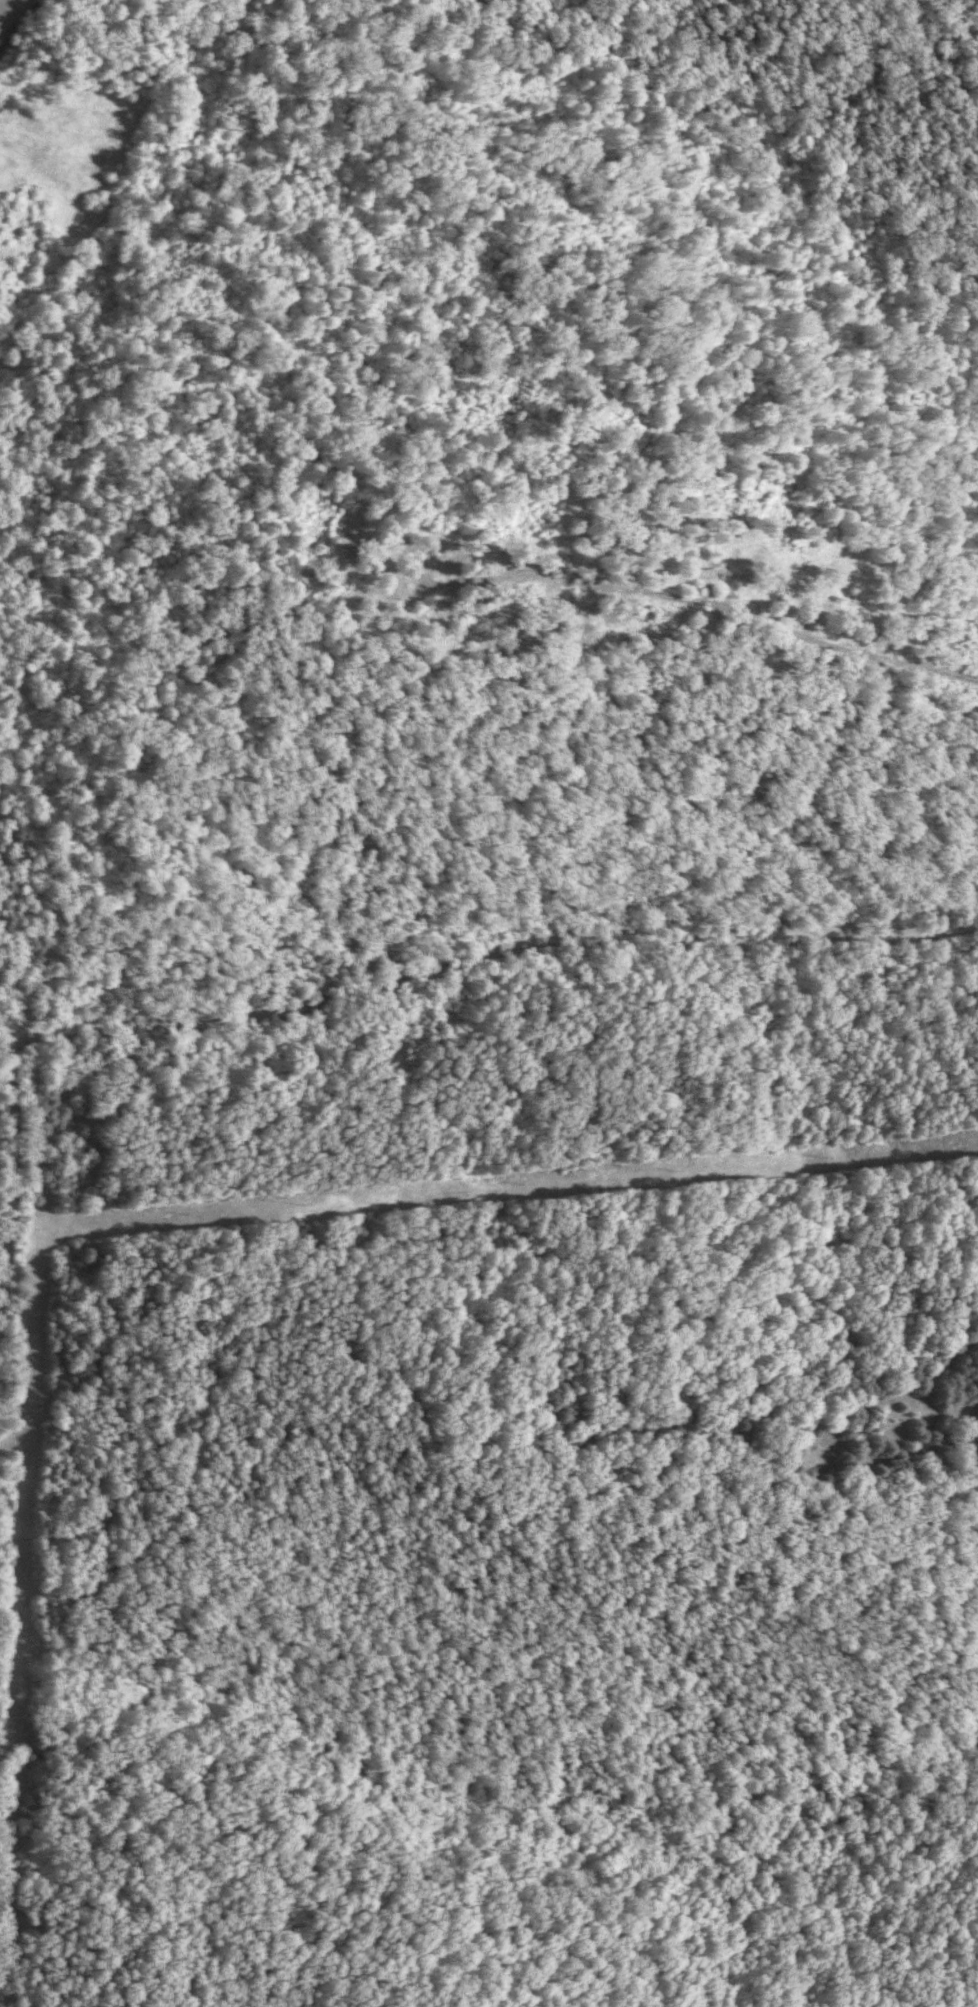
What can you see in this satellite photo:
road: (493, 952)
road: (20, 1225)
road: (3, 1964)

